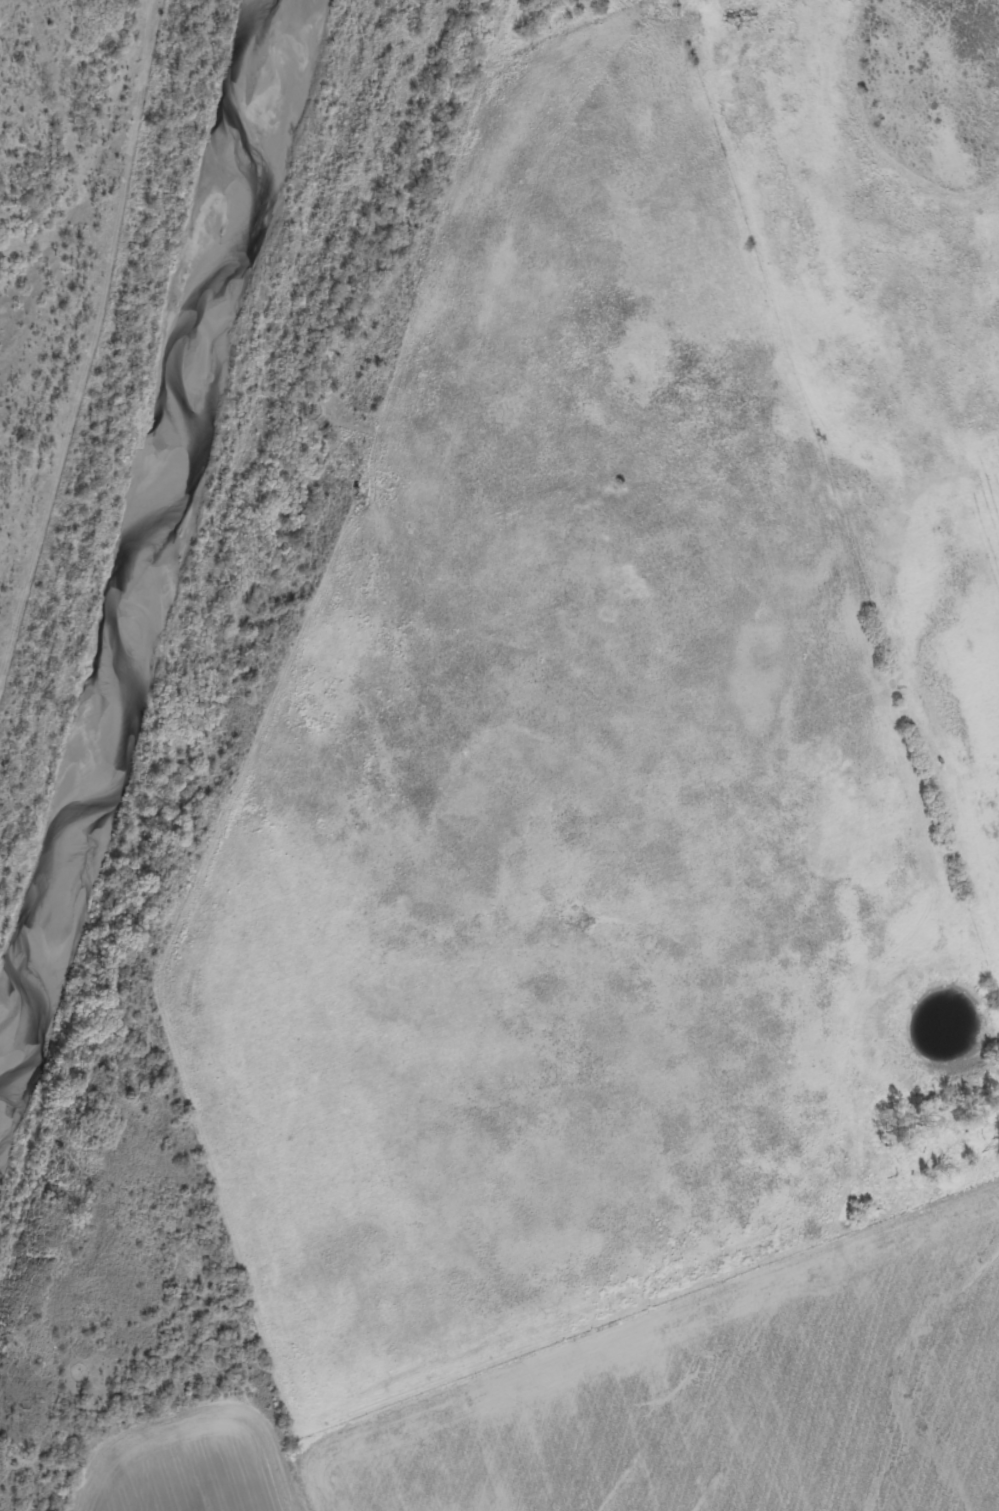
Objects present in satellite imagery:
river: (147, 565)

